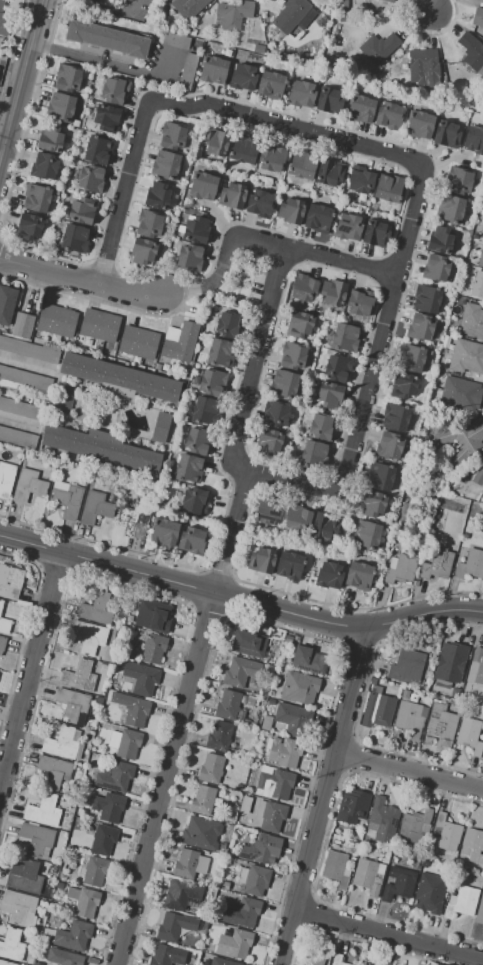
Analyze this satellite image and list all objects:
building: (95, 0)
building: (129, 0)
building: (389, 1)
building: (343, 5)
road: (429, 6)
building: (188, 7)
building: (234, 13)
building: (290, 15)
building: (477, 17)
building: (340, 18)
building: (4, 19)
building: (193, 32)
building: (107, 39)
building: (176, 41)
building: (377, 48)
building: (258, 49)
building: (471, 51)
road: (110, 64)
building: (425, 66)
building: (188, 70)
building: (213, 70)
road: (19, 73)
building: (243, 76)
building: (67, 79)
building: (271, 85)
building: (114, 90)
building: (302, 93)
building: (329, 99)
building: (61, 108)
building: (361, 109)
building: (389, 115)
building: (106, 118)
road: (285, 124)
building: (420, 124)
building: (446, 134)
building: (172, 135)
building: (50, 138)
building: (473, 140)
road: (0, 141)
building: (214, 143)
building: (97, 150)
building: (243, 150)
building: (272, 158)
building: (165, 165)
building: (302, 165)
building: (44, 166)
building: (330, 172)
building: (90, 178)
building: (360, 180)
building: (459, 180)
building: (203, 186)
building: (389, 188)
road: (123, 192)
building: (232, 195)
building: (157, 196)
building: (482, 196)
building: (36, 198)
building: (259, 203)
building: (450, 209)
building: (481, 210)
building: (82, 211)
building: (291, 211)
building: (318, 218)
building: (149, 224)
building: (28, 226)
building: (348, 227)
building: (196, 230)
building: (375, 234)
building: (74, 238)
building: (441, 239)
road: (226, 248)
building: (143, 252)
building: (189, 257)
building: (481, 258)
road: (337, 261)
building: (436, 268)
road: (49, 272)
building: (477, 286)
building: (303, 287)
building: (333, 292)
road: (143, 294)
building: (425, 299)
building: (360, 302)
building: (6, 304)
building: (57, 320)
building: (472, 321)
building: (99, 324)
building: (228, 324)
building: (299, 324)
building: (23, 325)
building: (420, 327)
building: (345, 336)
building: (138, 342)
building: (180, 342)
building: (450, 344)
building: (29, 349)
building: (220, 352)
building: (292, 356)
building: (467, 356)
building: (410, 358)
road: (26, 363)
road: (252, 364)
building: (335, 367)
building: (25, 378)
building: (120, 378)
road: (370, 378)
building: (212, 382)
building: (284, 384)
building: (403, 385)
building: (459, 393)
building: (329, 395)
building: (64, 400)
building: (21, 408)
building: (205, 410)
building: (276, 414)
building: (395, 417)
road: (17, 422)
building: (322, 426)
building: (160, 427)
building: (468, 435)
building: (18, 437)
building: (198, 440)
building: (269, 441)
building: (388, 446)
building: (100, 448)
building: (310, 453)
building: (188, 468)
building: (478, 474)
building: (380, 476)
building: (6, 479)
building: (28, 486)
building: (67, 501)
building: (194, 501)
building: (374, 505)
building: (95, 509)
building: (268, 511)
building: (136, 518)
building: (298, 518)
building: (324, 525)
building: (164, 532)
road: (232, 532)
building: (431, 533)
building: (366, 534)
building: (191, 540)
building: (261, 560)
building: (437, 564)
building: (470, 564)
building: (290, 566)
building: (401, 570)
building: (329, 575)
building: (359, 575)
building: (7, 584)
road: (240, 600)
building: (1, 604)
building: (97, 608)
building: (137, 610)
building: (156, 620)
building: (5, 626)
building: (90, 638)
building: (296, 638)
building: (288, 639)
building: (2, 644)
building: (248, 644)
building: (154, 649)
building: (307, 660)
building: (450, 663)
road: (29, 665)
building: (406, 666)
building: (476, 667)
building: (274, 668)
building: (240, 671)
building: (79, 676)
building: (141, 678)
building: (373, 680)
building: (299, 688)
building: (249, 701)
building: (271, 701)
building: (482, 701)
building: (72, 704)
building: (227, 705)
building: (377, 708)
building: (132, 709)
building: (410, 716)
building: (290, 718)
building: (246, 722)
building: (252, 723)
building: (266, 723)
building: (441, 725)
building: (219, 736)
building: (469, 736)
building: (64, 743)
building: (125, 743)
building: (284, 751)
building: (210, 768)
road: (408, 769)
building: (53, 771)
building: (114, 776)
road: (163, 779)
building: (274, 783)
building: (239, 786)
road: (320, 797)
building: (203, 800)
building: (245, 805)
building: (108, 806)
building: (235, 807)
building: (353, 807)
building: (41, 810)
building: (270, 815)
building: (382, 820)
building: (232, 821)
building: (414, 826)
building: (201, 833)
building: (447, 833)
building: (35, 839)
building: (102, 840)
building: (221, 845)
building: (473, 846)
building: (262, 849)
building: (190, 864)
building: (335, 868)
building: (94, 870)
building: (26, 876)
building: (366, 876)
building: (254, 879)
building: (401, 884)
building: (60, 885)
building: (224, 885)
building: (429, 893)
building: (182, 895)
building: (84, 901)
building: (463, 902)
building: (19, 908)
building: (480, 910)
building: (247, 911)
building: (174, 926)
road: (387, 934)
building: (70, 936)
building: (224, 938)
building: (45, 939)
building: (239, 943)
building: (12, 945)
building: (167, 955)
building: (192, 956)
building: (315, 956)
building: (62, 957)
building: (337, 959)
building: (206, 962)
building: (221, 962)
building: (5, 963)

